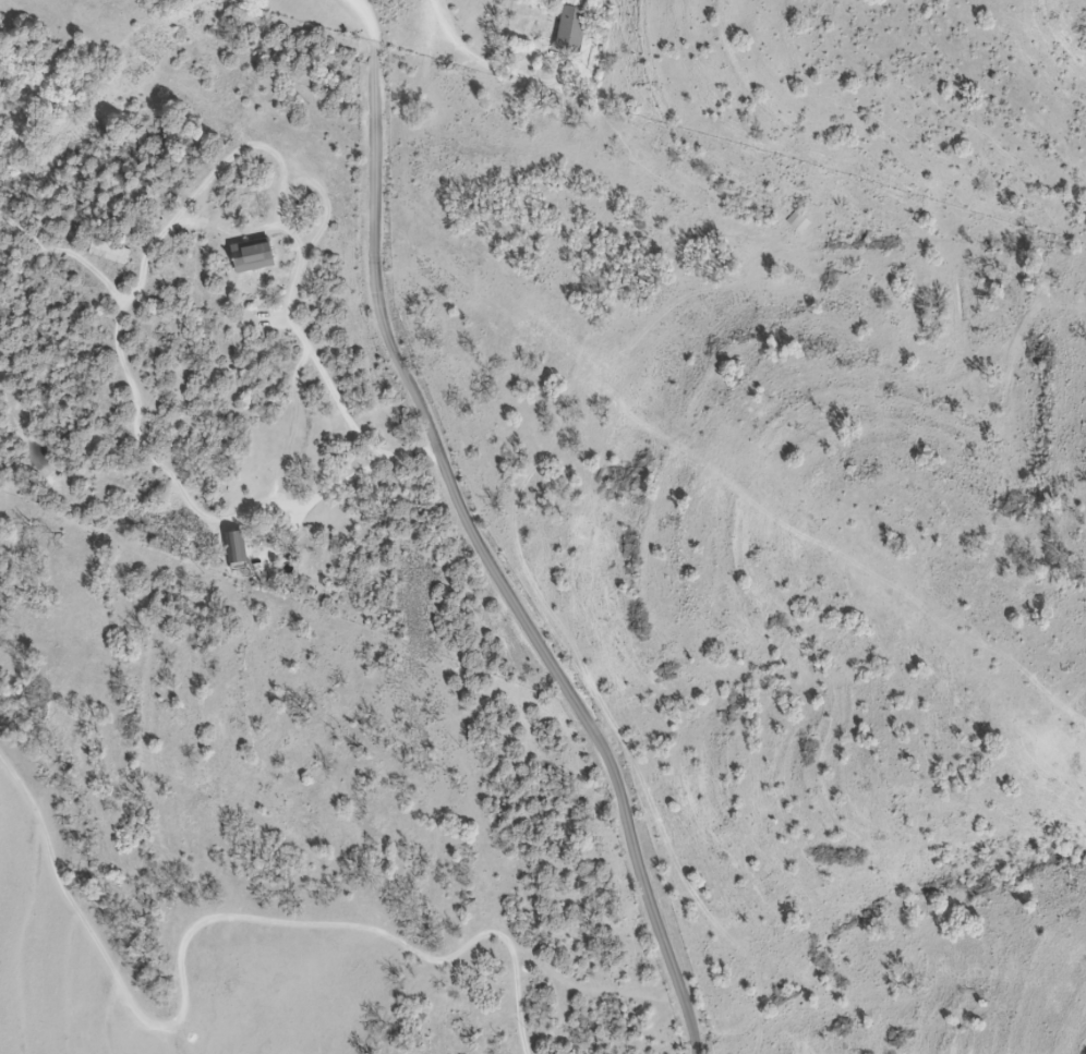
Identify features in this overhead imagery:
road: (355, 1)
road: (365, 17)
building: (570, 28)
road: (460, 39)
building: (108, 250)
building: (251, 254)
road: (144, 262)
building: (234, 547)
road: (487, 558)
road: (198, 930)

